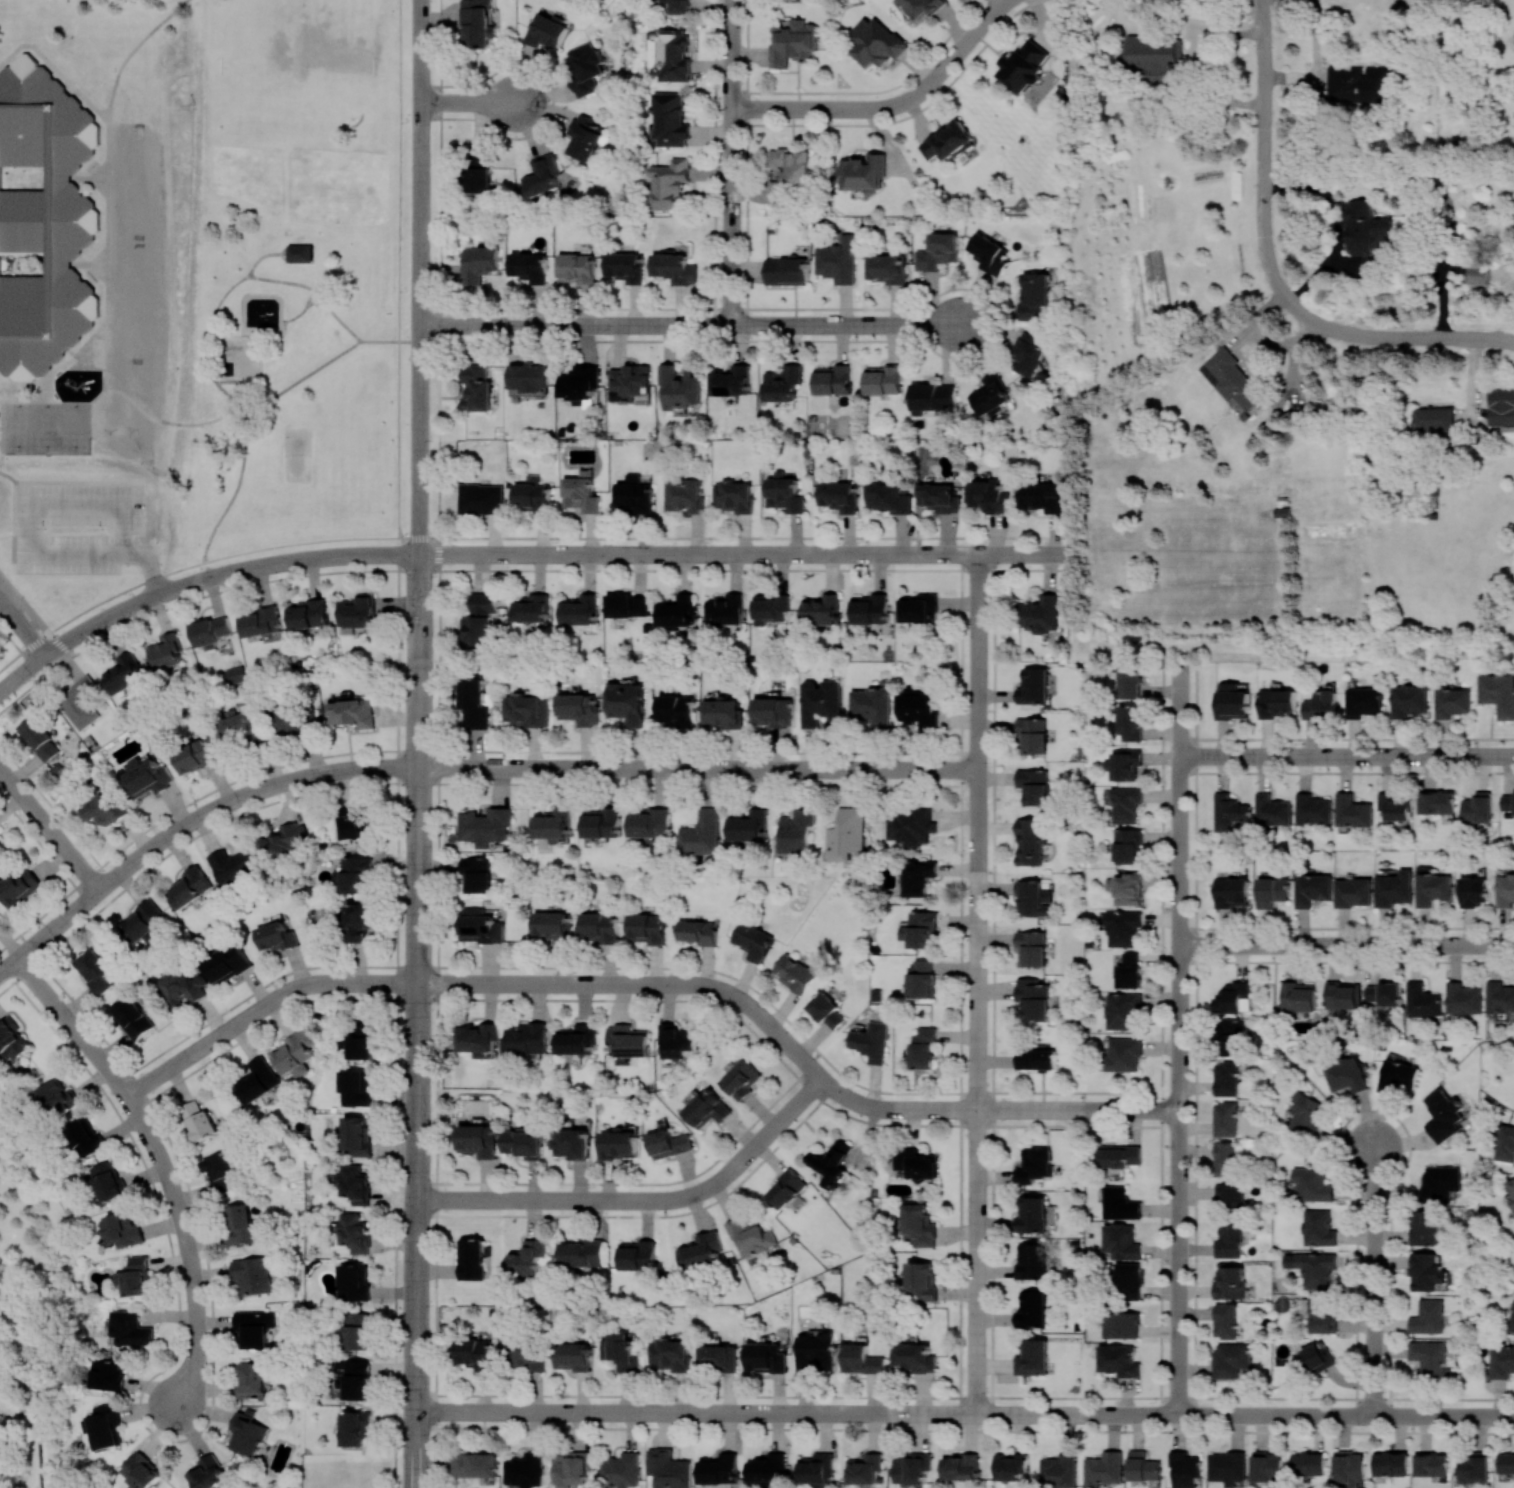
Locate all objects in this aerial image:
road: (1005, 1)
building: (679, 6)
building: (923, 6)
building: (478, 22)
building: (546, 30)
building: (874, 42)
building: (792, 43)
road: (133, 51)
building: (669, 55)
building: (1153, 57)
building: (1, 60)
park: (302, 66)
building: (1024, 66)
building: (585, 68)
road: (931, 82)
building: (1359, 83)
road: (467, 102)
road: (779, 108)
building: (670, 119)
building: (584, 136)
building: (947, 142)
road: (733, 162)
building: (478, 171)
building: (861, 172)
building: (788, 173)
building: (543, 176)
building: (667, 184)
building: (44, 219)
building: (1365, 228)
building: (937, 251)
road: (103, 253)
building: (305, 253)
building: (989, 253)
road: (262, 256)
building: (837, 260)
building: (479, 263)
building: (529, 266)
building: (625, 266)
building: (674, 266)
road: (398, 267)
road: (439, 268)
building: (576, 268)
building: (886, 268)
building: (787, 270)
road: (1271, 270)
park: (137, 271)
building: (1477, 274)
road: (420, 277)
park: (304, 281)
road: (285, 282)
building: (1034, 295)
road: (301, 310)
road: (337, 318)
road: (576, 324)
road: (848, 325)
road: (209, 336)
road: (390, 340)
building: (1029, 353)
road: (302, 377)
building: (528, 377)
building: (833, 379)
building: (883, 379)
building: (630, 380)
building: (1232, 380)
building: (731, 381)
building: (783, 383)
building: (580, 384)
building: (679, 386)
building: (476, 388)
road: (97, 395)
building: (990, 395)
building: (933, 398)
building: (1501, 415)
building: (1432, 419)
road: (169, 422)
park: (45, 427)
park: (297, 455)
road: (236, 484)
building: (580, 492)
building: (784, 493)
building: (634, 495)
building: (684, 495)
building: (990, 495)
building: (734, 496)
building: (840, 496)
building: (1042, 496)
building: (532, 497)
building: (888, 497)
building: (481, 498)
building: (940, 498)
road: (33, 501)
road: (13, 511)
parking lot: (75, 523)
road: (6, 531)
road: (416, 535)
road: (750, 536)
road: (291, 544)
road: (437, 553)
road: (744, 553)
road: (302, 559)
road: (149, 565)
road: (514, 569)
road: (116, 593)
road: (156, 594)
road: (24, 602)
building: (626, 605)
building: (770, 607)
building: (918, 607)
building: (531, 608)
building: (725, 609)
building: (822, 609)
building: (869, 609)
building: (580, 610)
building: (357, 611)
building: (677, 611)
building: (1038, 613)
building: (308, 614)
building: (478, 619)
road: (97, 622)
building: (261, 622)
road: (22, 626)
building: (210, 631)
road: (33, 642)
road: (60, 644)
road: (58, 646)
building: (165, 651)
road: (10, 661)
road: (22, 672)
building: (124, 673)
building: (235, 674)
building: (1129, 682)
building: (1034, 686)
building: (1497, 693)
building: (1408, 700)
building: (1231, 701)
building: (1363, 701)
building: (1451, 701)
building: (80, 702)
building: (627, 702)
building: (821, 702)
road: (979, 702)
building: (1276, 702)
building: (473, 703)
building: (1320, 705)
building: (871, 706)
building: (579, 708)
building: (918, 708)
building: (677, 709)
building: (526, 710)
building: (773, 711)
building: (352, 712)
building: (722, 713)
building: (288, 722)
building: (1130, 722)
building: (243, 729)
building: (1033, 734)
building: (39, 738)
road: (1385, 755)
building: (197, 756)
road: (1216, 756)
road: (1254, 756)
building: (1125, 764)
road: (512, 768)
road: (541, 768)
road: (767, 768)
building: (147, 776)
building: (1033, 786)
road: (232, 800)
building: (1507, 801)
building: (1436, 802)
road: (1180, 803)
building: (1125, 804)
building: (1395, 806)
building: (1479, 807)
building: (107, 809)
building: (1312, 809)
building: (1271, 810)
building: (1352, 810)
building: (1229, 811)
building: (601, 822)
building: (650, 824)
building: (553, 825)
building: (749, 825)
building: (355, 826)
building: (486, 826)
building: (910, 826)
road: (49, 828)
building: (796, 831)
building: (701, 833)
building: (846, 834)
building: (1030, 840)
building: (285, 841)
building: (1127, 845)
road: (979, 861)
building: (232, 865)
building: (353, 874)
building: (476, 875)
building: (919, 877)
building: (19, 886)
building: (190, 887)
building: (1126, 888)
building: (1393, 888)
building: (1432, 888)
building: (1311, 889)
building: (1505, 890)
building: (1271, 891)
building: (1473, 891)
building: (1231, 892)
building: (1352, 892)
building: (1033, 898)
building: (143, 921)
building: (357, 923)
building: (553, 925)
building: (479, 926)
building: (599, 927)
building: (1123, 927)
building: (647, 928)
building: (920, 929)
building: (698, 931)
building: (276, 936)
building: (753, 941)
road: (1216, 945)
road: (1262, 945)
road: (1393, 945)
building: (1031, 948)
building: (227, 964)
road: (9, 965)
building: (95, 970)
building: (1130, 971)
building: (794, 973)
building: (922, 978)
road: (516, 984)
road: (692, 984)
building: (180, 987)
road: (301, 988)
building: (1384, 993)
building: (1298, 996)
building: (1342, 996)
building: (1499, 996)
building: (1233, 997)
building: (1033, 998)
building: (1463, 998)
building: (1422, 1000)
building: (827, 1010)
road: (395, 1011)
building: (1123, 1011)
building: (132, 1017)
road: (417, 1021)
road: (436, 1029)
building: (1230, 1037)
building: (11, 1039)
building: (360, 1039)
building: (479, 1039)
building: (525, 1039)
building: (577, 1039)
building: (676, 1040)
building: (871, 1041)
building: (627, 1042)
building: (923, 1047)
building: (294, 1053)
building: (1124, 1054)
building: (1035, 1058)
building: (1346, 1075)
building: (1397, 1076)
building: (1227, 1077)
building: (258, 1079)
building: (741, 1079)
building: (355, 1086)
building: (55, 1098)
road: (848, 1098)
building: (707, 1108)
road: (885, 1108)
road: (1036, 1109)
building: (1305, 1114)
building: (1443, 1115)
building: (1226, 1119)
building: (198, 1120)
road: (776, 1125)
building: (356, 1135)
building: (84, 1138)
building: (478, 1140)
road: (978, 1142)
building: (523, 1143)
building: (572, 1143)
building: (618, 1143)
building: (669, 1143)
building: (1505, 1143)
building: (1119, 1156)
building: (1226, 1158)
building: (831, 1162)
road: (163, 1163)
building: (915, 1163)
building: (1034, 1165)
building: (221, 1172)
road: (1374, 1174)
road: (1180, 1180)
building: (109, 1181)
building: (1440, 1183)
building: (356, 1184)
building: (1312, 1184)
building: (786, 1187)
building: (1511, 1189)
building: (1230, 1195)
road: (673, 1199)
road: (506, 1200)
road: (602, 1200)
building: (1119, 1203)
building: (1032, 1214)
building: (241, 1224)
building: (918, 1225)
building: (1318, 1227)
building: (1423, 1227)
building: (122, 1229)
building: (355, 1232)
building: (750, 1237)
building: (1230, 1240)
building: (1121, 1241)
building: (700, 1250)
building: (581, 1252)
building: (636, 1255)
building: (527, 1257)
building: (472, 1259)
building: (1031, 1261)
building: (1314, 1268)
building: (1426, 1271)
building: (252, 1275)
building: (134, 1276)
building: (921, 1280)
building: (1128, 1280)
building: (356, 1282)
building: (1230, 1282)
building: (1032, 1309)
road: (1373, 1310)
building: (1318, 1314)
building: (1427, 1316)
park: (35, 1318)
building: (1511, 1318)
building: (1226, 1320)
building: (1122, 1325)
building: (130, 1328)
building: (254, 1328)
building: (359, 1330)
building: (621, 1351)
building: (815, 1351)
building: (475, 1354)
building: (524, 1354)
building: (671, 1354)
building: (573, 1356)
building: (1318, 1356)
building: (766, 1357)
building: (915, 1357)
building: (1032, 1357)
building: (719, 1358)
building: (861, 1359)
building: (1230, 1359)
building: (1429, 1359)
building: (1118, 1360)
building: (1501, 1361)
building: (108, 1374)
building: (251, 1379)
building: (355, 1380)
road: (843, 1412)
road: (1278, 1415)
road: (1330, 1415)
road: (1422, 1415)
road: (1492, 1416)
building: (105, 1427)
building: (355, 1427)
building: (246, 1434)
building: (1308, 1463)
building: (1390, 1463)
building: (1506, 1463)
building: (475, 1464)
building: (1431, 1464)
building: (960, 1466)
building: (1009, 1466)
building: (1142, 1466)
building: (1267, 1466)
building: (768, 1467)
building: (1226, 1467)
building: (1349, 1467)
building: (572, 1468)
building: (863, 1468)
building: (911, 1468)
building: (1103, 1468)
building: (1184, 1468)
building: (1475, 1468)
building: (669, 1469)
building: (720, 1469)
building: (816, 1469)
building: (525, 1470)
building: (622, 1470)
building: (1058, 1470)
building: (142, 1471)
building: (207, 1472)

